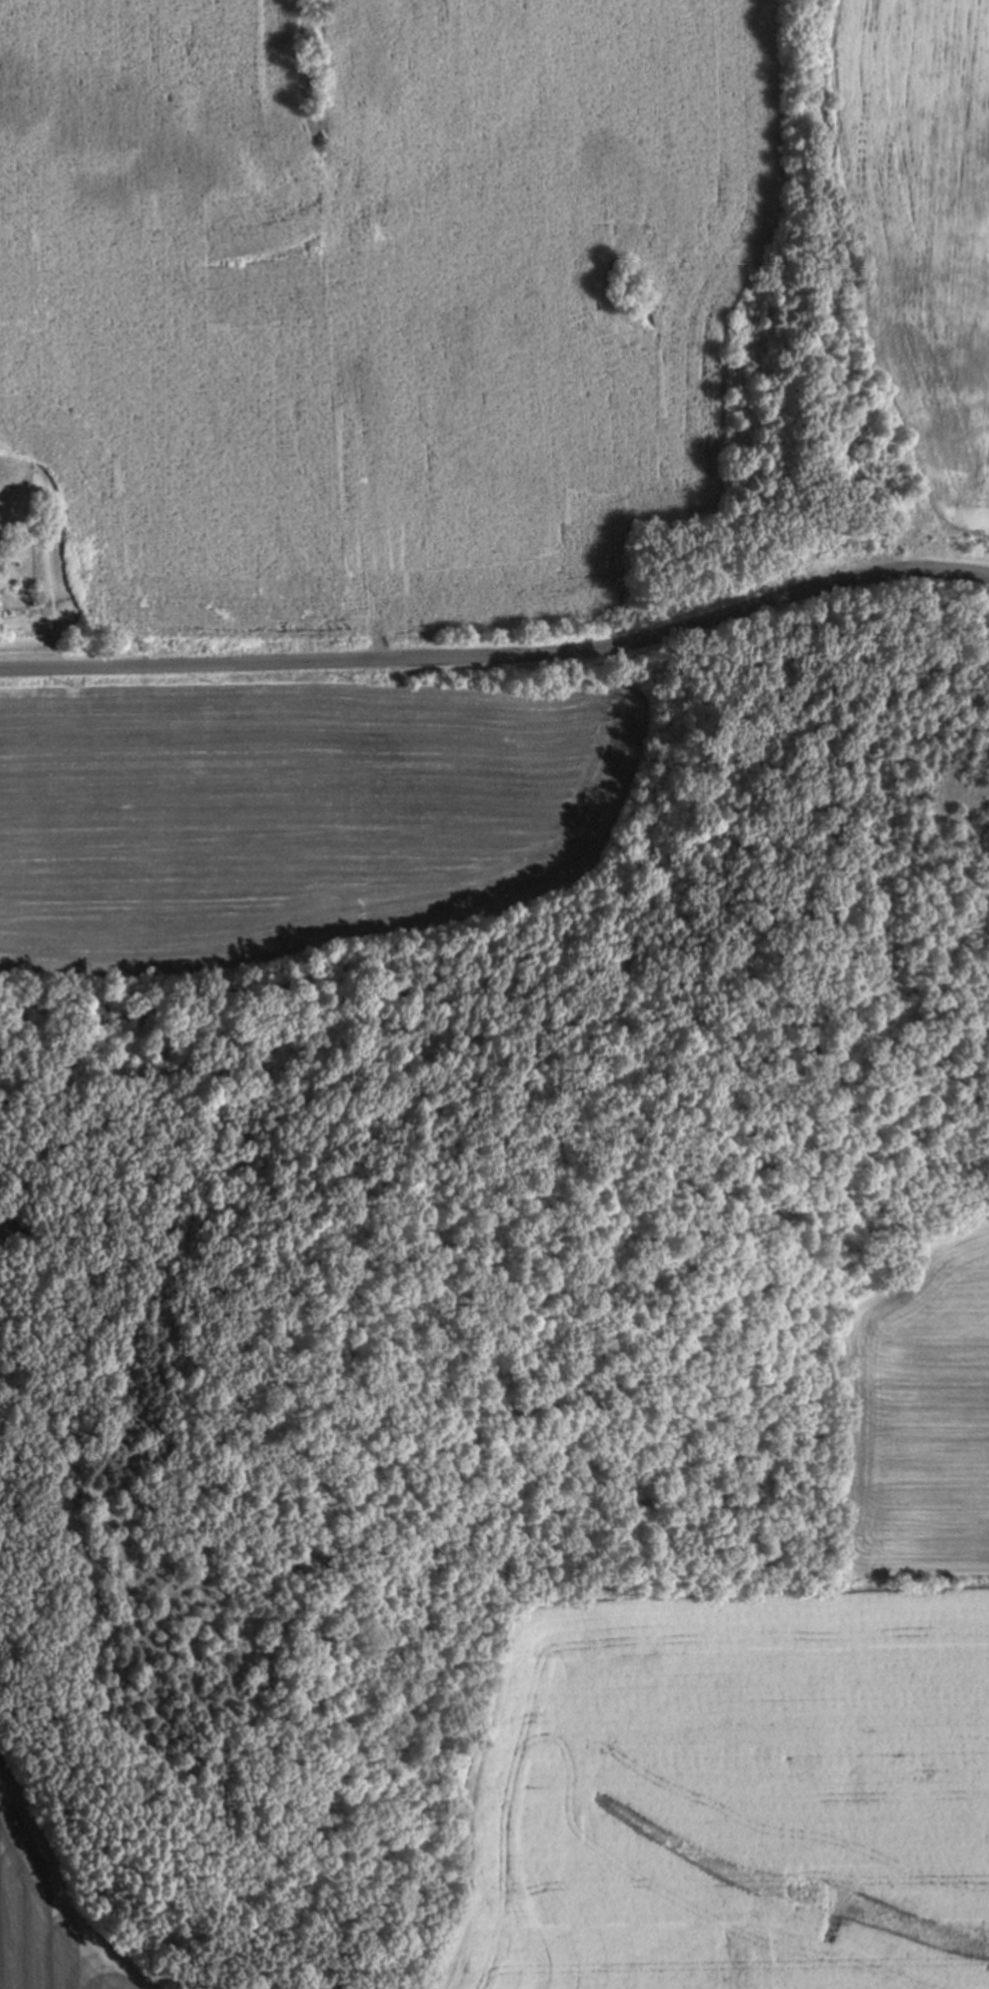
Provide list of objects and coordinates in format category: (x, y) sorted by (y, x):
road: (499, 656)
road: (66, 1864)

